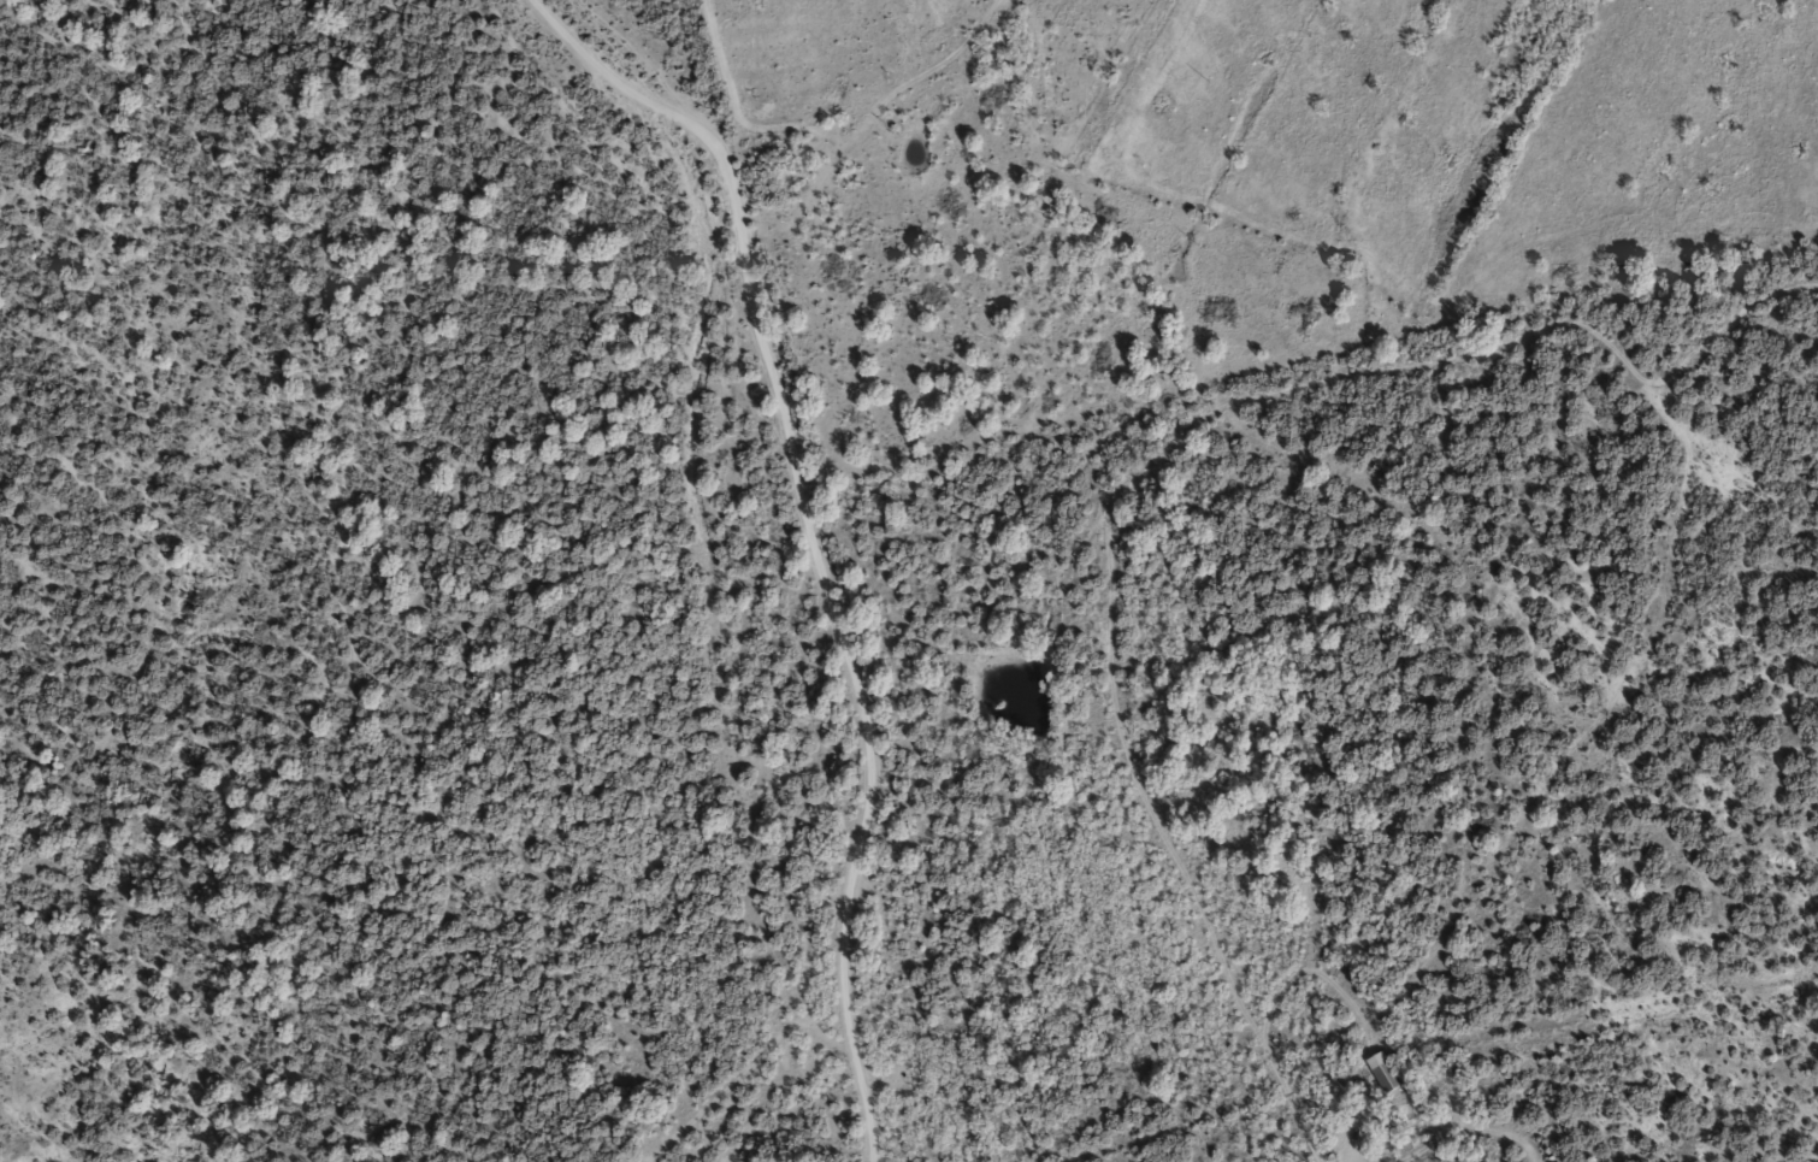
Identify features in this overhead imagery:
building: (1385, 1083)

